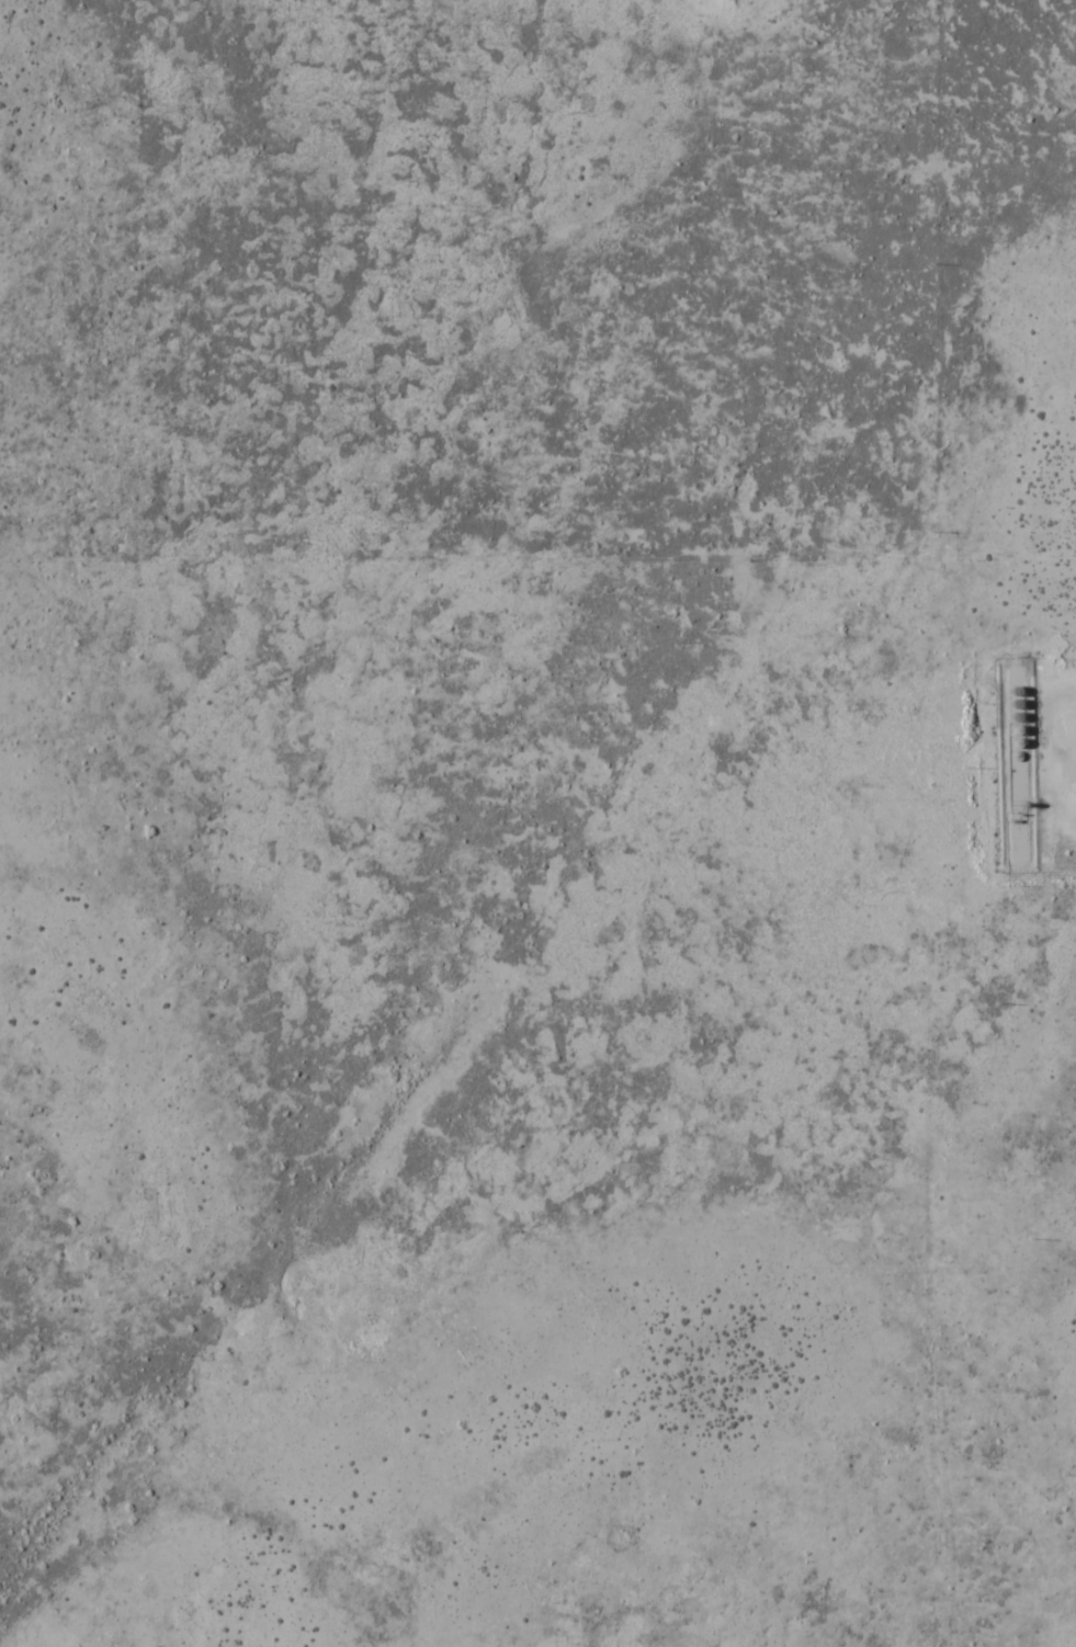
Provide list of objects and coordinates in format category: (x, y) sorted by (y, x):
road: (1072, 774)

